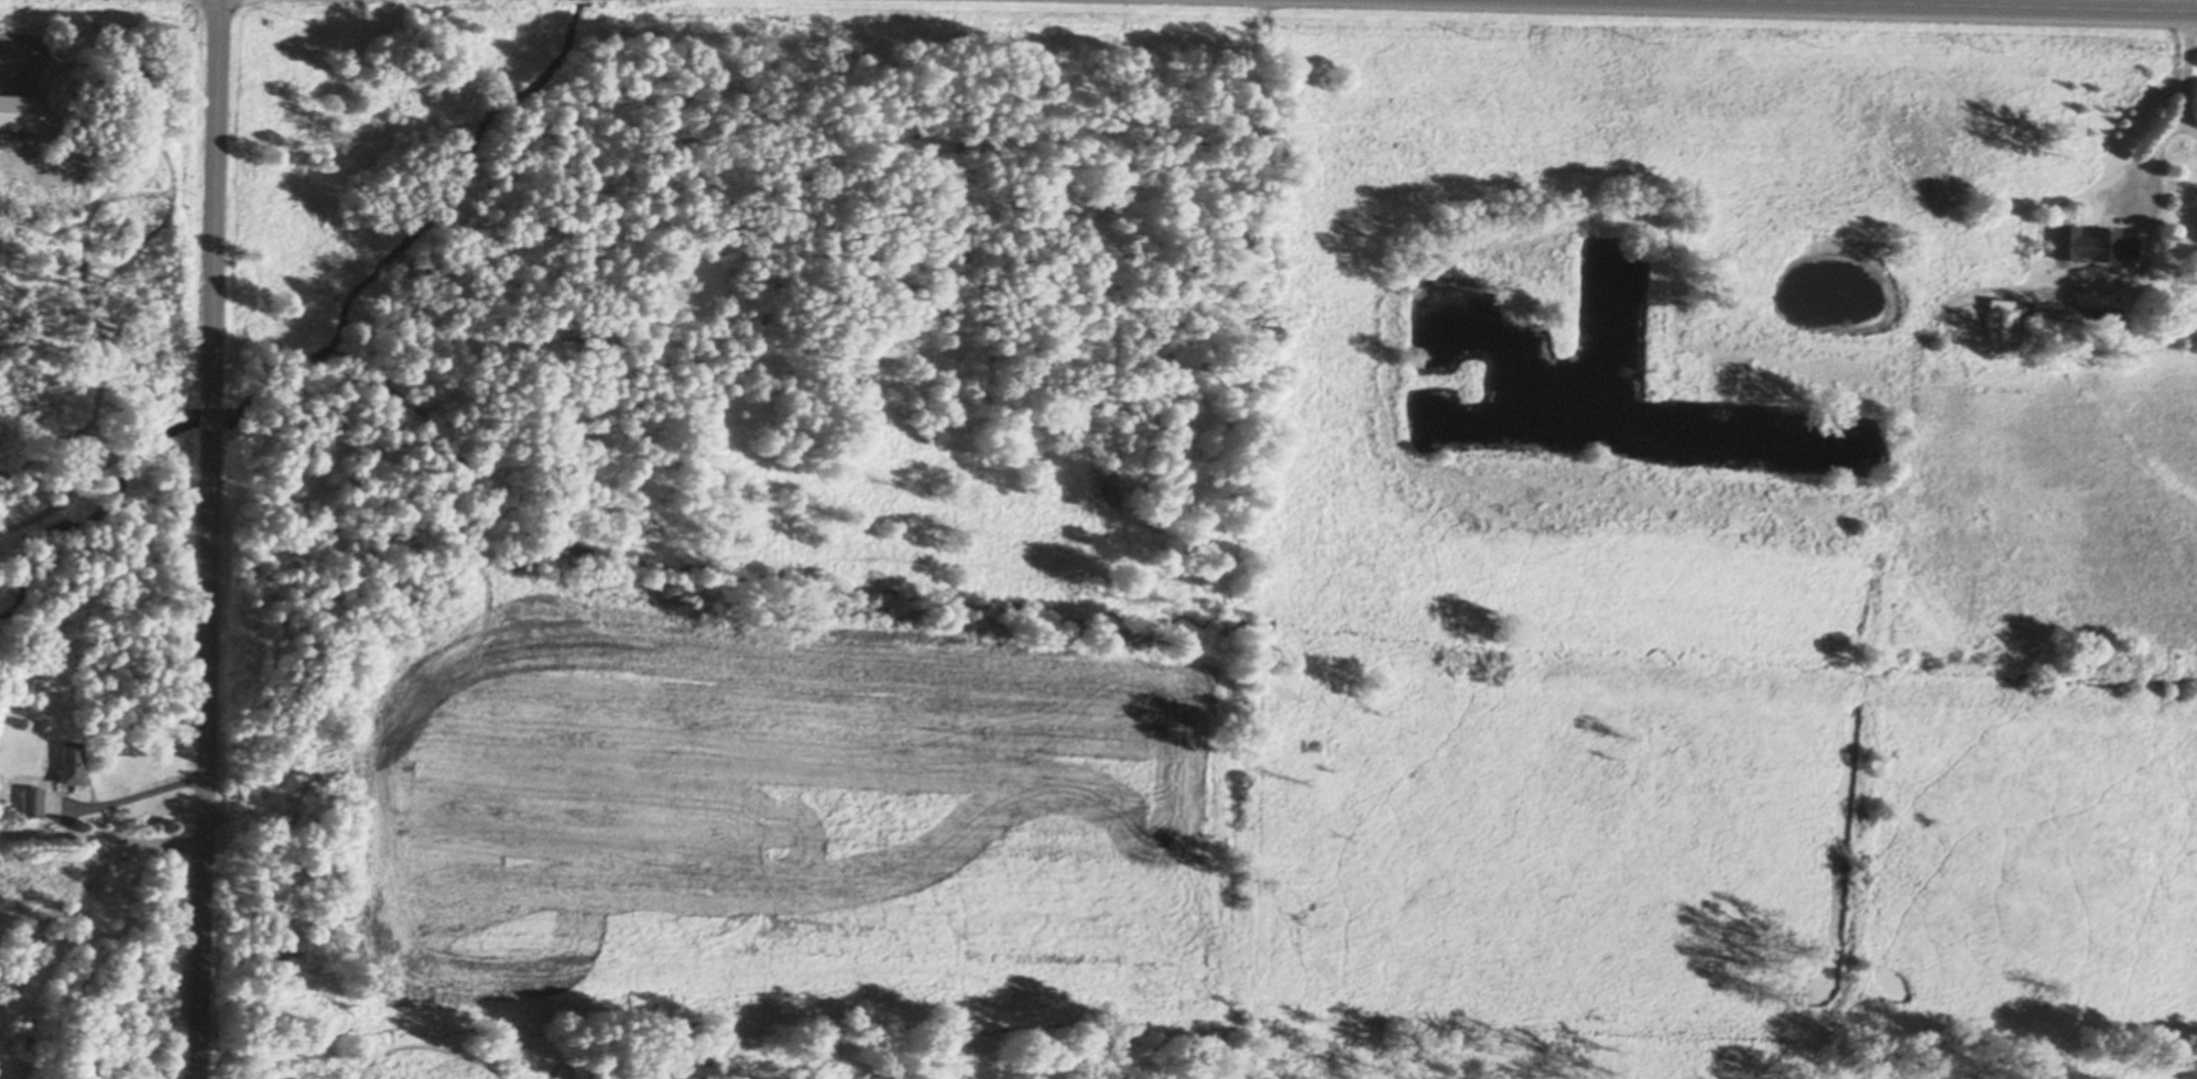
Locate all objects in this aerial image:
river: (574, 1)
road: (1992, 6)
road: (2182, 102)
building: (18, 113)
river: (457, 187)
building: (2095, 244)
building: (2001, 306)
building: (2029, 309)
river: (270, 388)
river: (209, 417)
river: (91, 511)
road: (211, 539)
building: (70, 765)
road: (137, 796)
building: (33, 804)
road: (102, 837)

